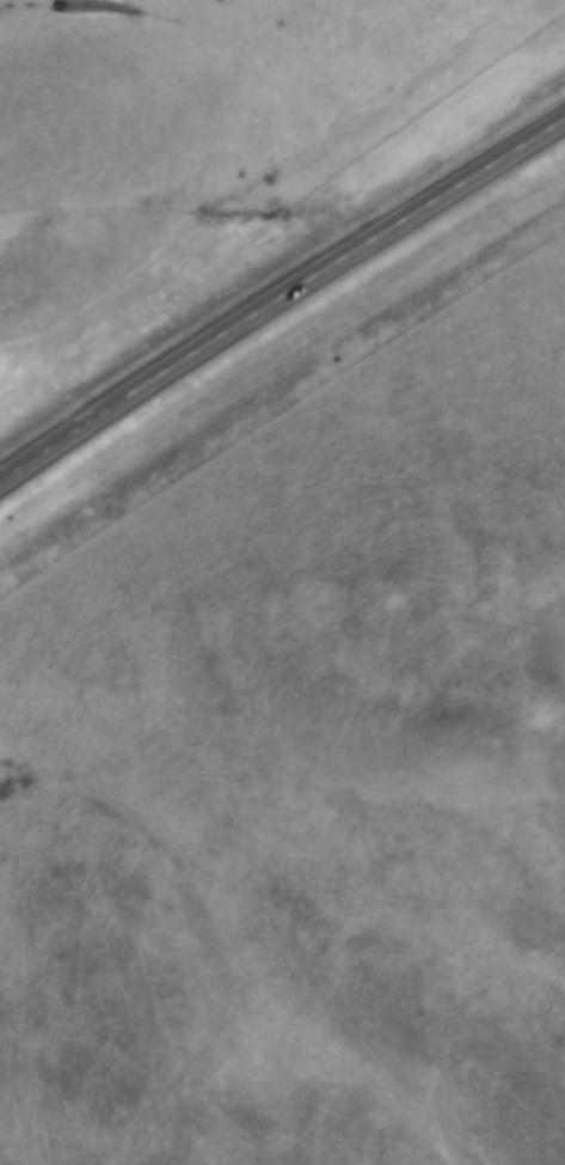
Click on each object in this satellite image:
road: (280, 299)

